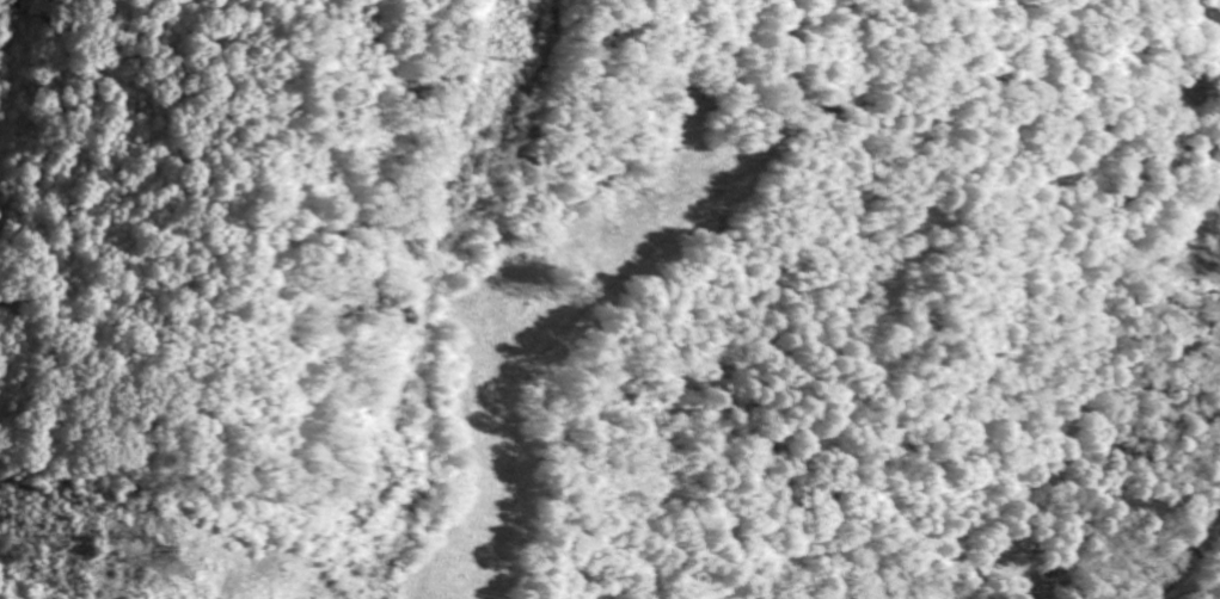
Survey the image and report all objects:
power tower: (130, 546)

